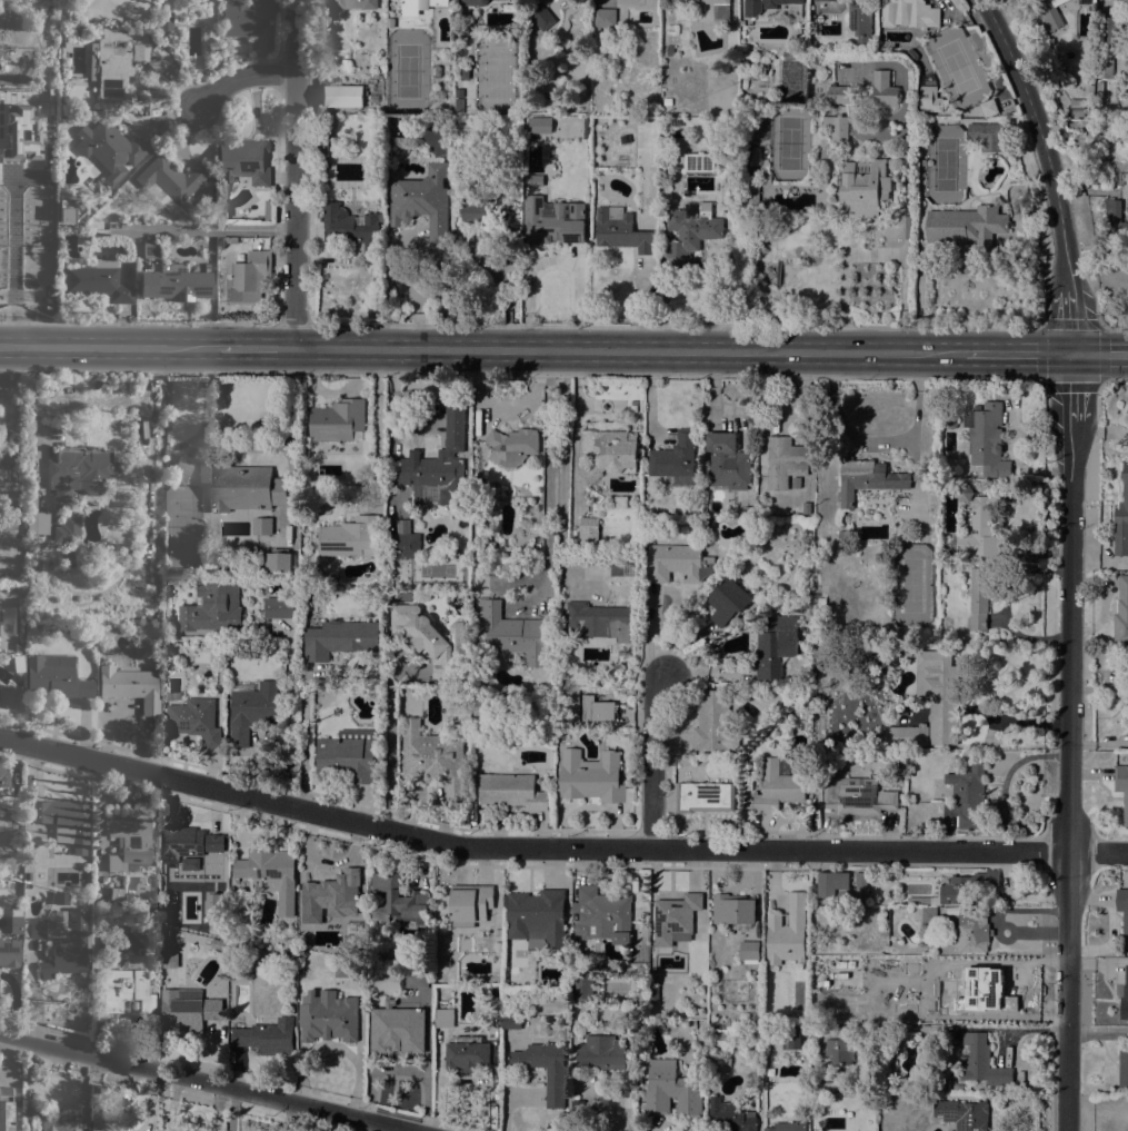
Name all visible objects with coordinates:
building: (188, 0)
building: (830, 0)
building: (1121, 0)
building: (1084, 1)
building: (473, 2)
building: (356, 3)
building: (418, 6)
building: (763, 6)
building: (721, 12)
building: (1049, 12)
building: (908, 13)
building: (242, 16)
building: (541, 17)
building: (603, 18)
building: (164, 19)
building: (859, 20)
building: (1109, 29)
building: (84, 34)
building: (64, 39)
building: (670, 50)
building: (911, 53)
building: (788, 56)
building: (120, 60)
building: (743, 62)
building: (346, 65)
building: (61, 67)
building: (1104, 67)
building: (435, 71)
road: (240, 79)
building: (661, 85)
building: (884, 88)
building: (1099, 88)
building: (1090, 89)
building: (840, 93)
building: (341, 96)
building: (373, 99)
building: (929, 99)
building: (667, 101)
building: (459, 105)
building: (1077, 107)
building: (988, 108)
building: (539, 125)
building: (648, 126)
building: (20, 129)
building: (835, 129)
building: (1097, 129)
building: (975, 132)
building: (990, 133)
road: (1041, 138)
building: (322, 146)
building: (109, 148)
building: (727, 155)
building: (244, 160)
building: (698, 162)
building: (1082, 172)
road: (296, 173)
building: (729, 177)
building: (765, 178)
building: (170, 180)
building: (533, 180)
building: (862, 188)
building: (751, 195)
building: (423, 200)
building: (483, 208)
building: (69, 209)
building: (269, 210)
road: (905, 211)
building: (552, 220)
building: (1116, 220)
building: (967, 226)
road: (203, 229)
building: (691, 229)
building: (620, 230)
building: (353, 231)
building: (210, 244)
building: (151, 249)
building: (757, 250)
road: (555, 259)
road: (18, 260)
building: (248, 276)
building: (97, 280)
building: (176, 285)
road: (917, 296)
road: (1070, 319)
road: (1096, 326)
road: (109, 345)
road: (256, 347)
road: (628, 349)
road: (1018, 353)
traffic signals: (1072, 354)
road: (1100, 354)
road: (1072, 388)
road: (30, 410)
building: (338, 421)
road: (576, 421)
building: (950, 423)
building: (986, 439)
building: (511, 446)
building: (608, 453)
building: (675, 456)
building: (785, 460)
building: (727, 462)
building: (438, 466)
building: (180, 469)
road: (562, 470)
building: (78, 473)
building: (866, 478)
building: (796, 483)
building: (241, 486)
building: (806, 507)
building: (413, 514)
building: (34, 516)
building: (1121, 516)
building: (978, 524)
building: (262, 526)
building: (67, 528)
building: (588, 533)
building: (843, 534)
building: (350, 536)
building: (212, 543)
building: (250, 543)
building: (405, 545)
building: (278, 560)
building: (677, 562)
building: (325, 575)
building: (6, 578)
building: (1, 587)
building: (20, 588)
building: (421, 595)
building: (980, 595)
building: (727, 601)
building: (820, 601)
building: (212, 608)
building: (279, 608)
building: (1121, 614)
building: (598, 621)
building: (513, 633)
building: (338, 637)
building: (430, 641)
building: (776, 645)
building: (19, 646)
building: (907, 651)
building: (836, 672)
building: (54, 677)
building: (130, 686)
building: (939, 694)
building: (251, 708)
building: (598, 708)
building: (799, 714)
building: (194, 720)
building: (712, 721)
building: (904, 735)
building: (479, 740)
building: (826, 742)
road: (303, 744)
road: (388, 747)
building: (349, 754)
building: (433, 758)
building: (736, 760)
road: (657, 761)
building: (885, 761)
road: (1068, 776)
building: (3, 777)
building: (591, 777)
building: (777, 787)
building: (1121, 787)
building: (512, 791)
building: (702, 795)
building: (854, 795)
building: (969, 795)
building: (63, 820)
building: (29, 842)
building: (190, 842)
building: (130, 843)
road: (557, 850)
building: (201, 863)
building: (270, 874)
building: (27, 875)
building: (967, 886)
building: (843, 887)
building: (335, 891)
building: (114, 894)
building: (60, 897)
building: (926, 900)
building: (398, 901)
building: (470, 904)
building: (212, 906)
building: (1122, 906)
building: (732, 911)
building: (601, 915)
building: (643, 915)
building: (928, 915)
building: (538, 916)
building: (675, 919)
building: (33, 929)
building: (787, 932)
building: (972, 934)
building: (292, 942)
building: (884, 942)
building: (497, 946)
building: (68, 948)
building: (749, 950)
building: (9, 952)
building: (612, 966)
building: (349, 970)
building: (437, 978)
building: (417, 980)
building: (386, 982)
building: (582, 986)
building: (127, 990)
building: (651, 990)
building: (1125, 996)
building: (510, 1006)
building: (187, 1008)
building: (328, 1016)
building: (397, 1016)
building: (443, 1018)
building: (510, 1021)
building: (499, 1022)
road: (1097, 1029)
building: (770, 1032)
building: (267, 1036)
building: (790, 1036)
building: (719, 1044)
building: (632, 1048)
building: (837, 1050)
building: (600, 1053)
building: (470, 1054)
building: (981, 1062)
building: (1124, 1068)
road: (201, 1082)
building: (908, 1083)
building: (944, 1085)
building: (831, 1087)
building: (555, 1088)
building: (957, 1088)
building: (966, 1088)
building: (670, 1090)
building: (578, 1107)
building: (6, 1109)
building: (964, 1114)
building: (728, 1117)
building: (563, 1121)
building: (50, 1122)
building: (788, 1127)

